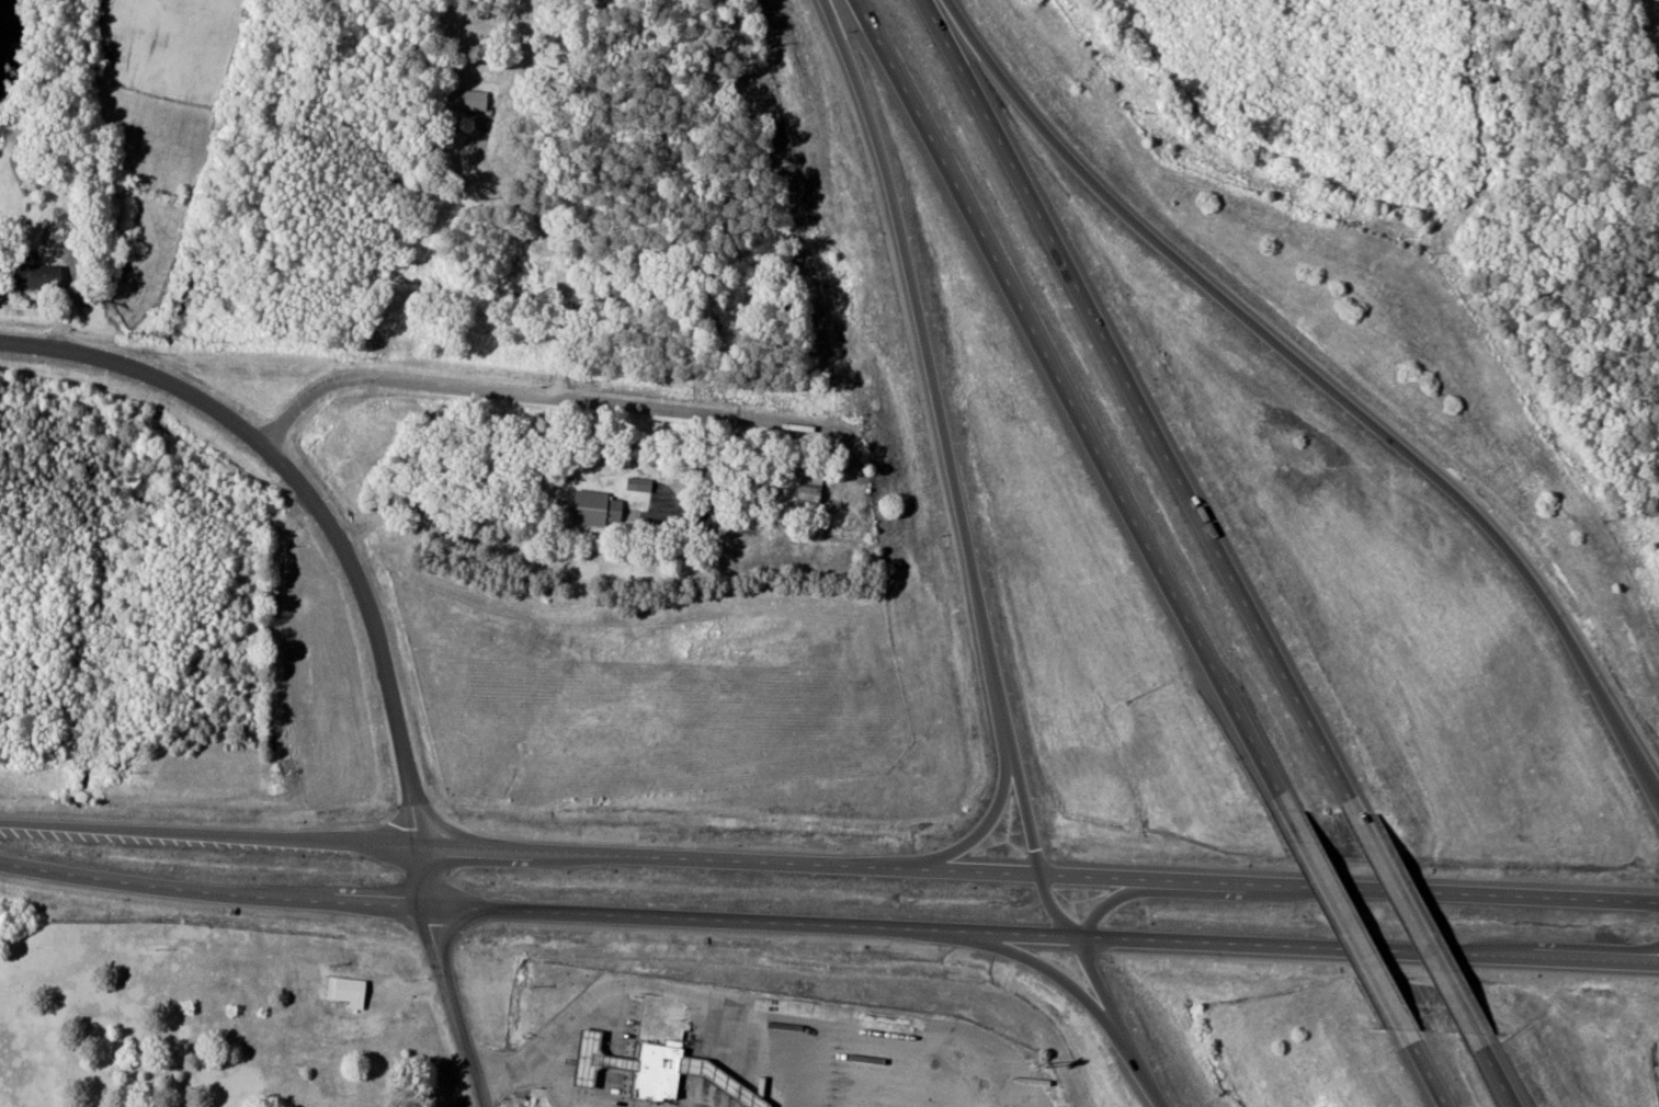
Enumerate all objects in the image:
building: (105, 55)
building: (466, 100)
building: (36, 276)
road: (137, 369)
road: (920, 369)
road: (1313, 384)
road: (552, 392)
road: (1127, 398)
road: (1067, 407)
building: (639, 484)
building: (808, 493)
building: (598, 510)
road: (368, 654)
road: (1657, 786)
road: (1013, 804)
road: (966, 818)
road: (203, 826)
road: (469, 841)
road: (662, 852)
road: (978, 865)
road: (1216, 876)
road: (159, 879)
road: (1464, 887)
road: (1111, 889)
road: (372, 895)
road: (1044, 901)
road: (596, 906)
road: (1408, 915)
road: (1343, 922)
road: (1147, 932)
road: (1629, 945)
road: (1563, 952)
road: (1630, 955)
road: (1049, 969)
building: (331, 985)
road: (457, 1002)
road: (788, 1005)
road: (1116, 1018)
building: (590, 1050)
road: (816, 1059)
building: (654, 1065)
road: (532, 1068)
road: (934, 1068)
road: (1421, 1069)
road: (1493, 1072)
road: (470, 1103)

